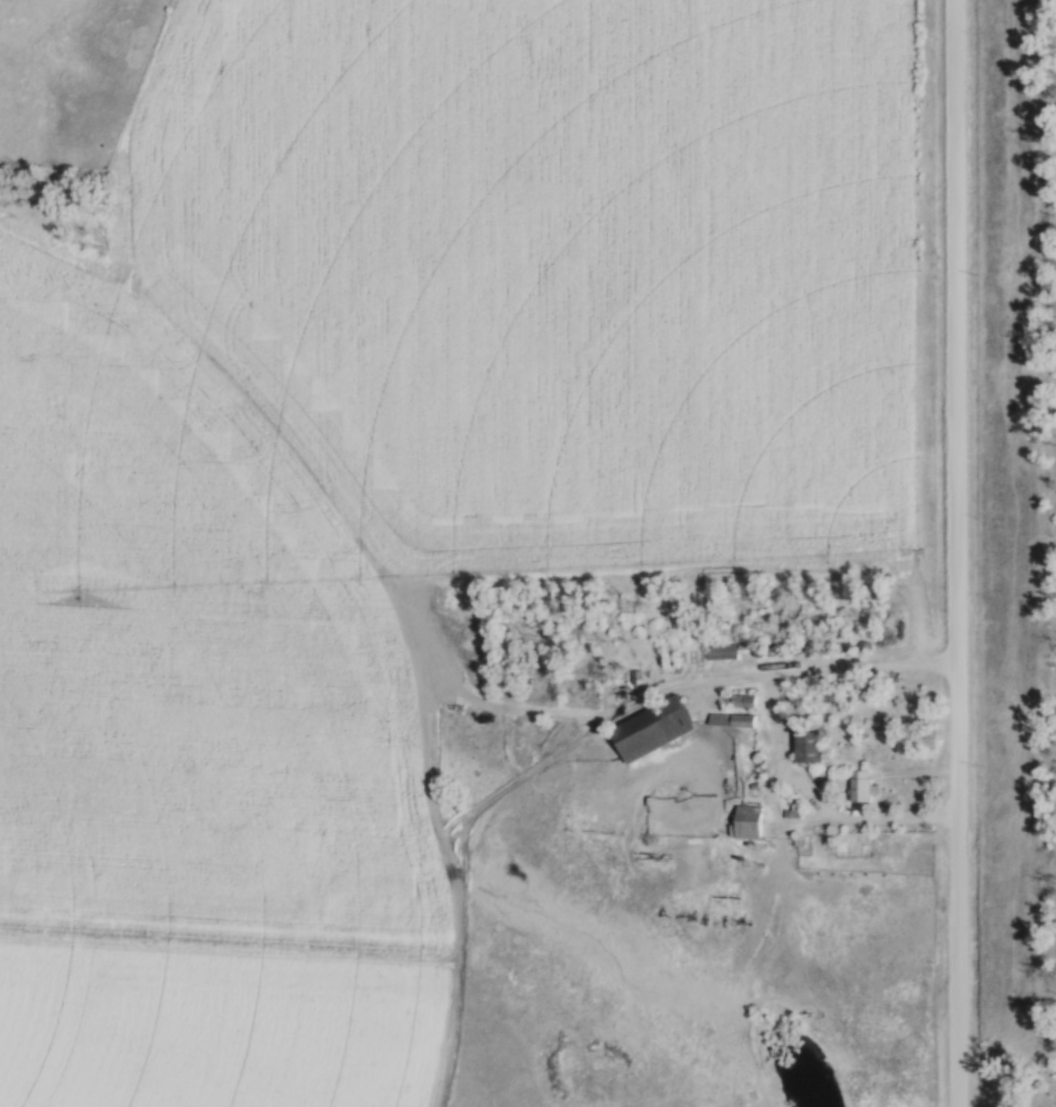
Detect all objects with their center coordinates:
road: (959, 552)
building: (722, 652)
building: (731, 722)
road: (779, 729)
building: (653, 730)
building: (810, 748)
building: (861, 787)
building: (749, 823)

